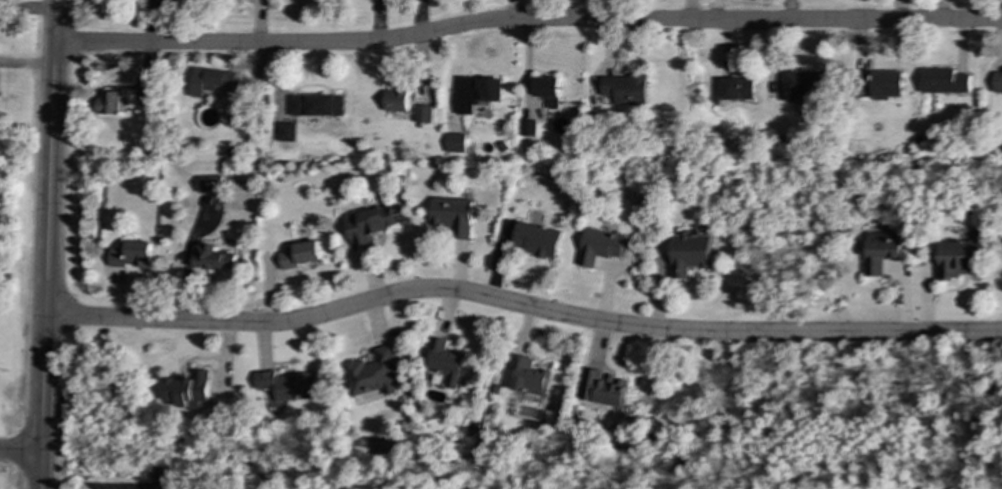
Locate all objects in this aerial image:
road: (526, 20)
road: (27, 62)
building: (210, 81)
building: (944, 81)
building: (998, 81)
building: (806, 83)
building: (886, 83)
building: (625, 89)
building: (736, 89)
building: (548, 90)
building: (476, 92)
building: (395, 99)
building: (145, 101)
building: (108, 103)
building: (316, 105)
building: (237, 112)
building: (423, 114)
building: (527, 127)
building: (286, 132)
building: (454, 142)
building: (209, 183)
building: (451, 215)
building: (369, 225)
building: (536, 239)
road: (47, 244)
building: (599, 246)
building: (881, 250)
building: (689, 253)
building: (300, 254)
building: (130, 255)
building: (956, 258)
building: (214, 259)
road: (521, 305)
building: (443, 361)
building: (372, 373)
building: (528, 376)
building: (602, 388)
building: (190, 389)
road: (21, 453)

